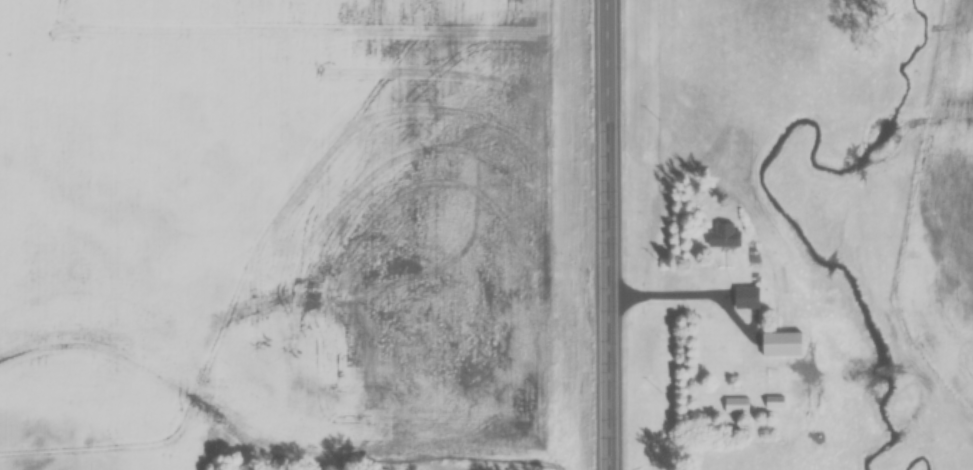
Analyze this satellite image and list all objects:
road: (612, 234)
building: (720, 234)
road: (669, 290)
building: (745, 297)
building: (780, 343)
building: (774, 401)
building: (735, 404)

